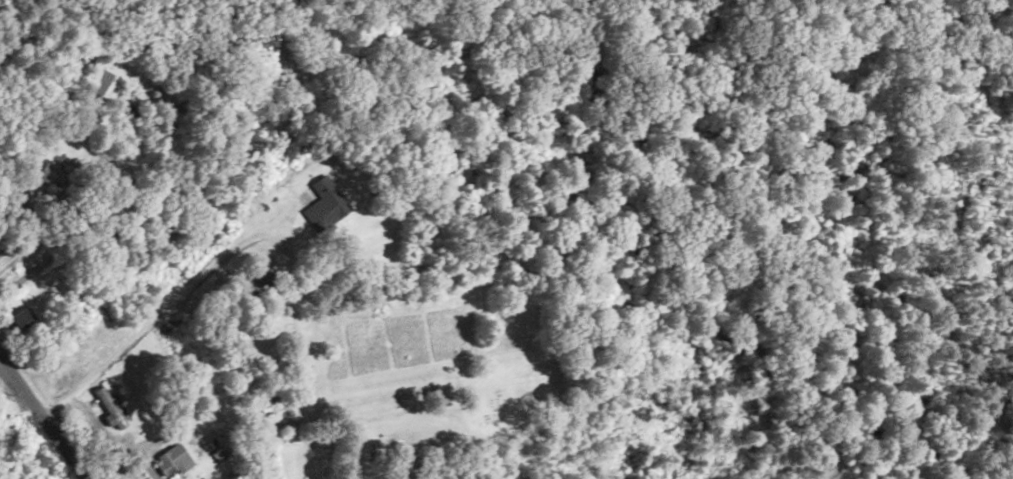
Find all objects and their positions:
building: (104, 86)
road: (110, 105)
building: (47, 174)
building: (325, 204)
building: (261, 281)
building: (20, 319)
building: (109, 408)
road: (42, 417)
building: (170, 461)

